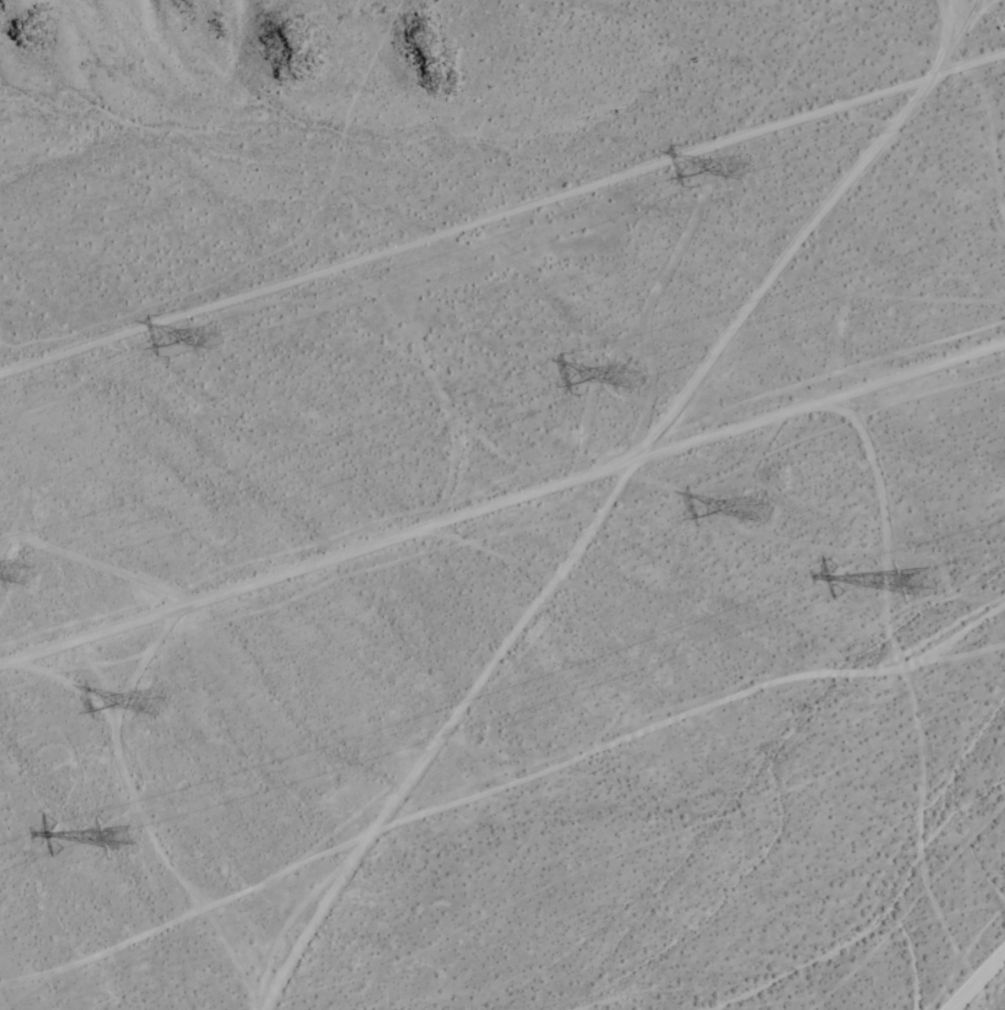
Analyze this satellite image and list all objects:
power tower: (750, 160)
power tower: (219, 339)
power tower: (634, 374)
road: (502, 499)
power tower: (765, 505)
power tower: (30, 563)
power tower: (929, 583)
power tower: (164, 700)
power tower: (130, 841)
road: (982, 986)

